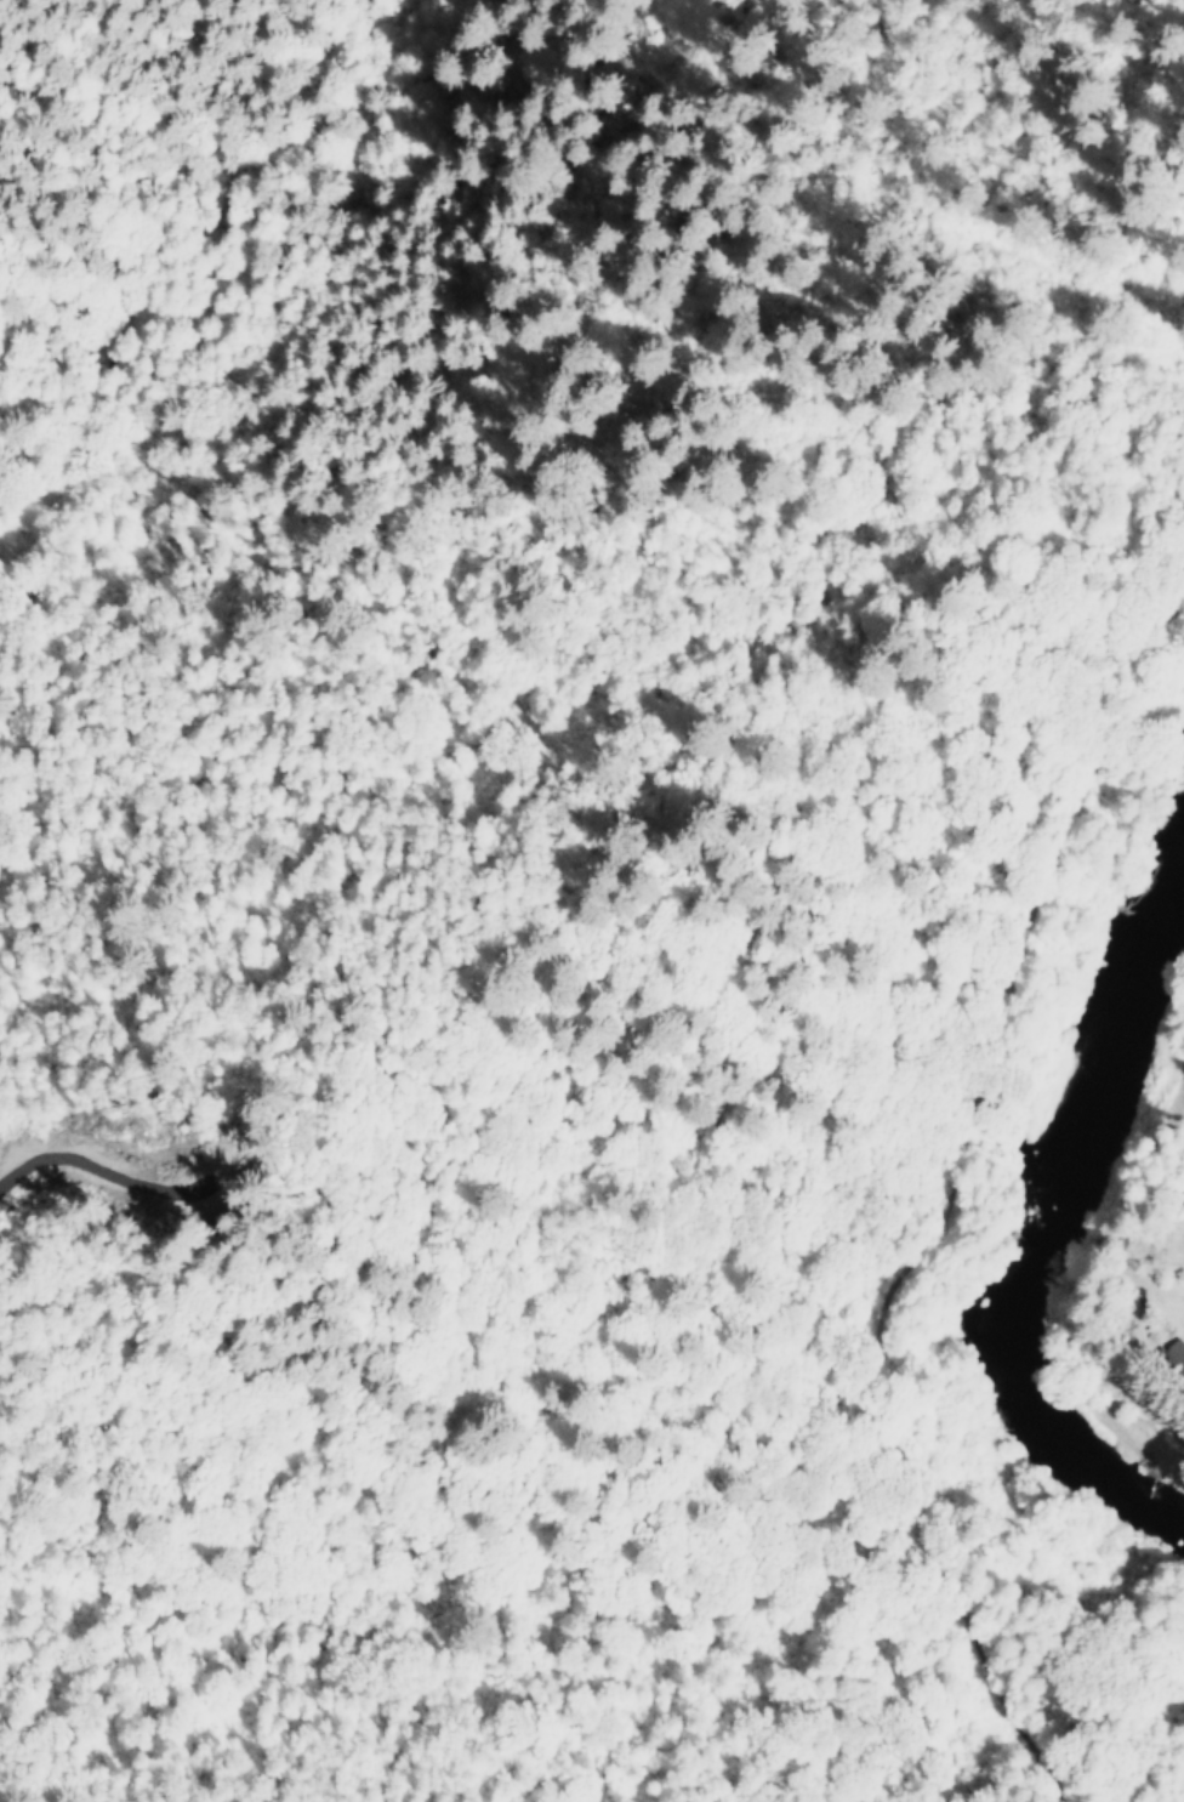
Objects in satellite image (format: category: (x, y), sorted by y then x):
river: (1058, 1200)
building: (1172, 1354)

